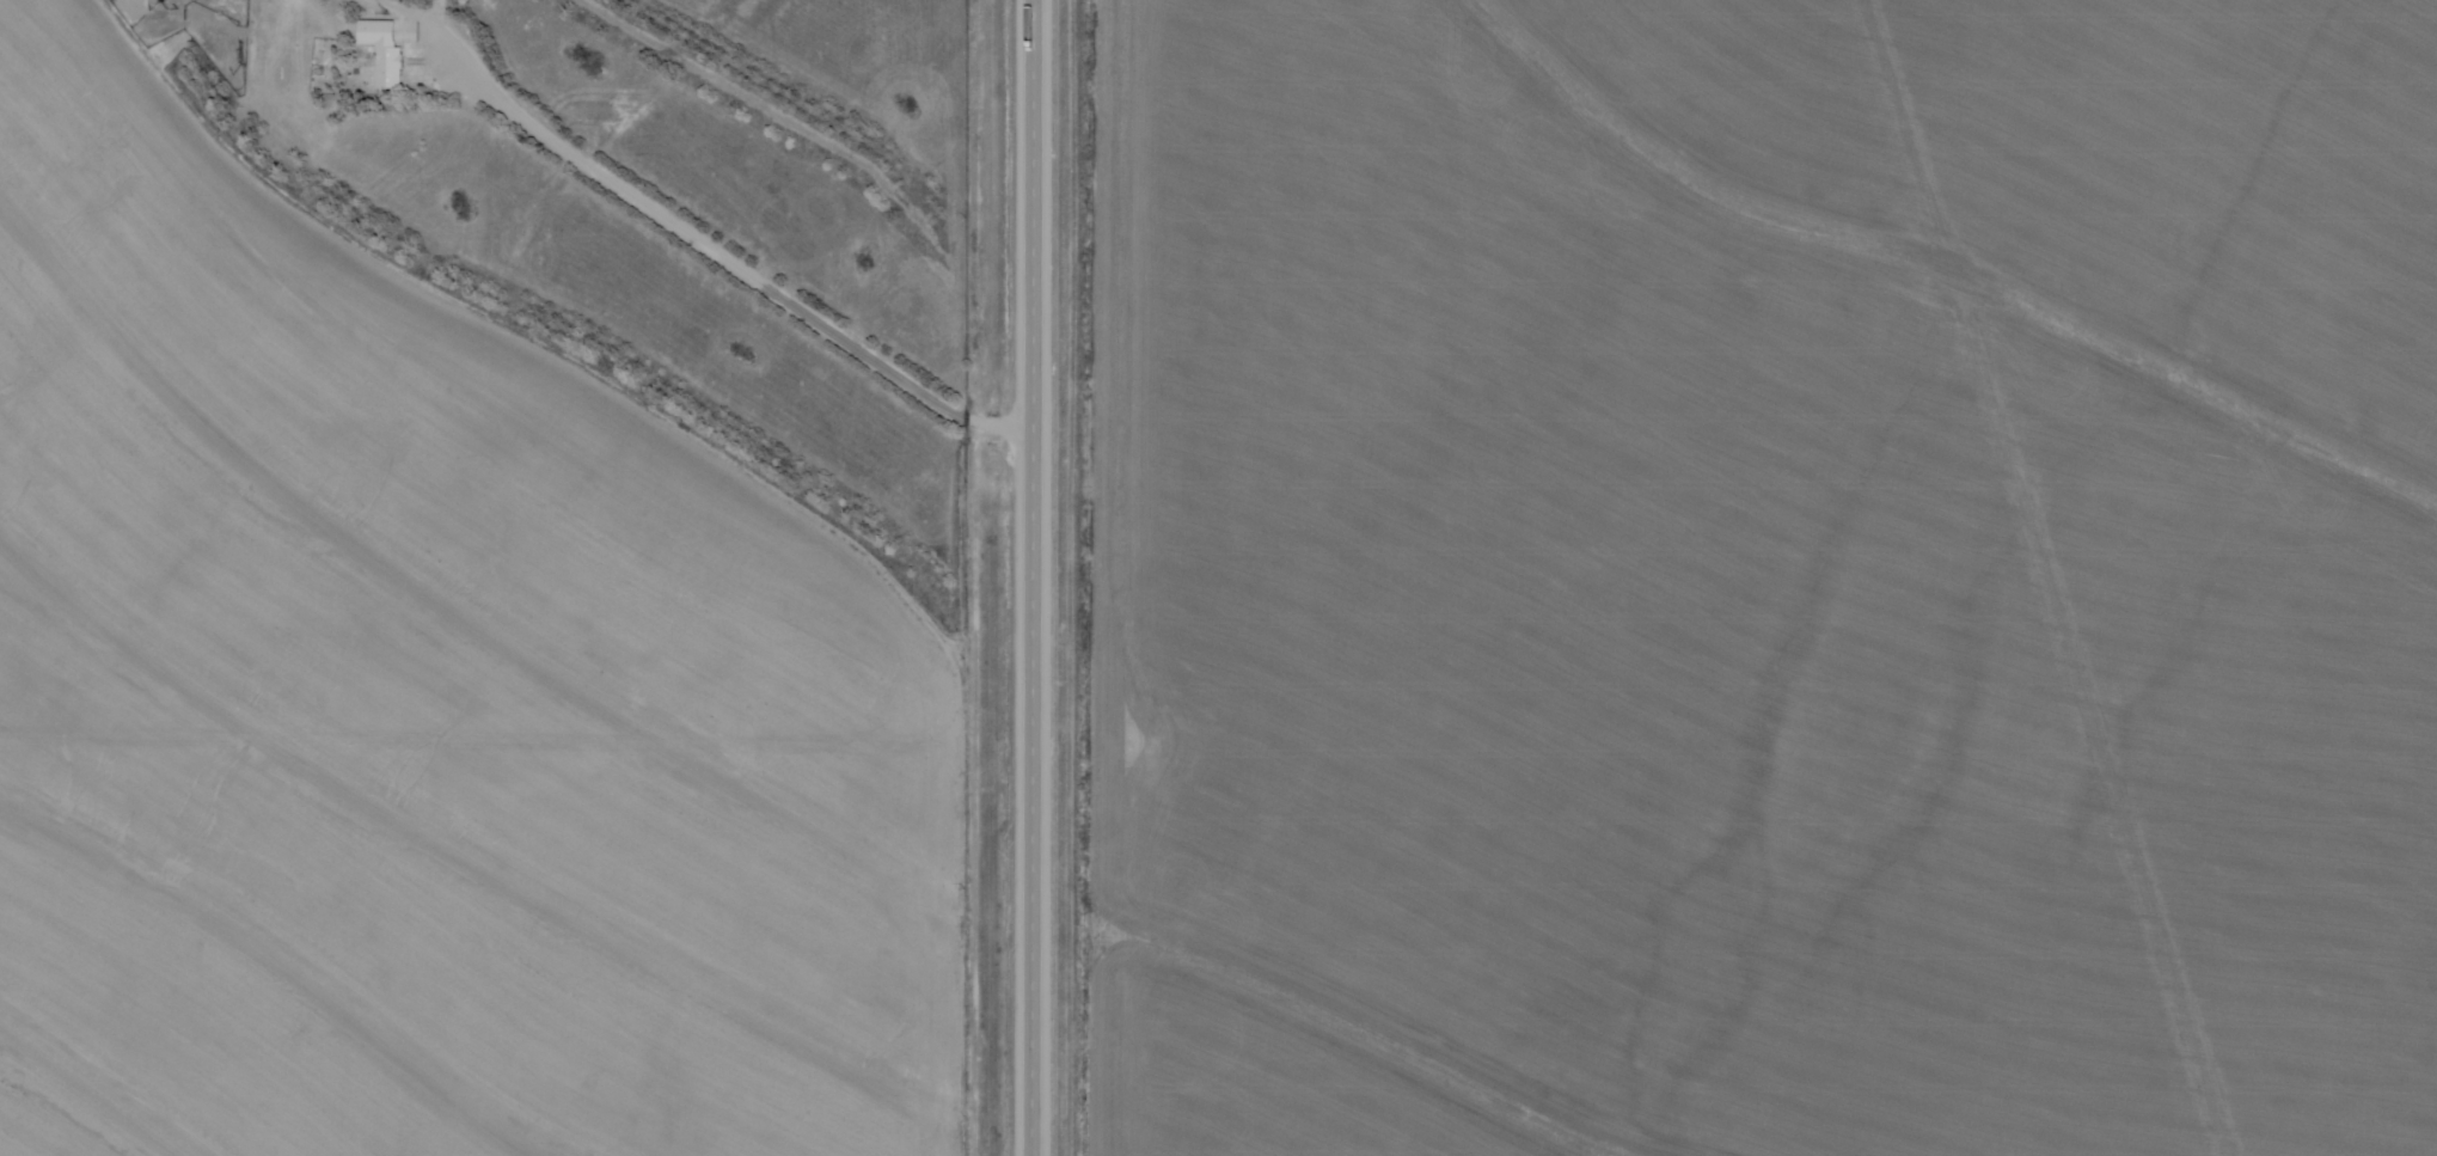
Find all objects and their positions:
building: (380, 51)
road: (686, 232)
road: (1027, 577)

